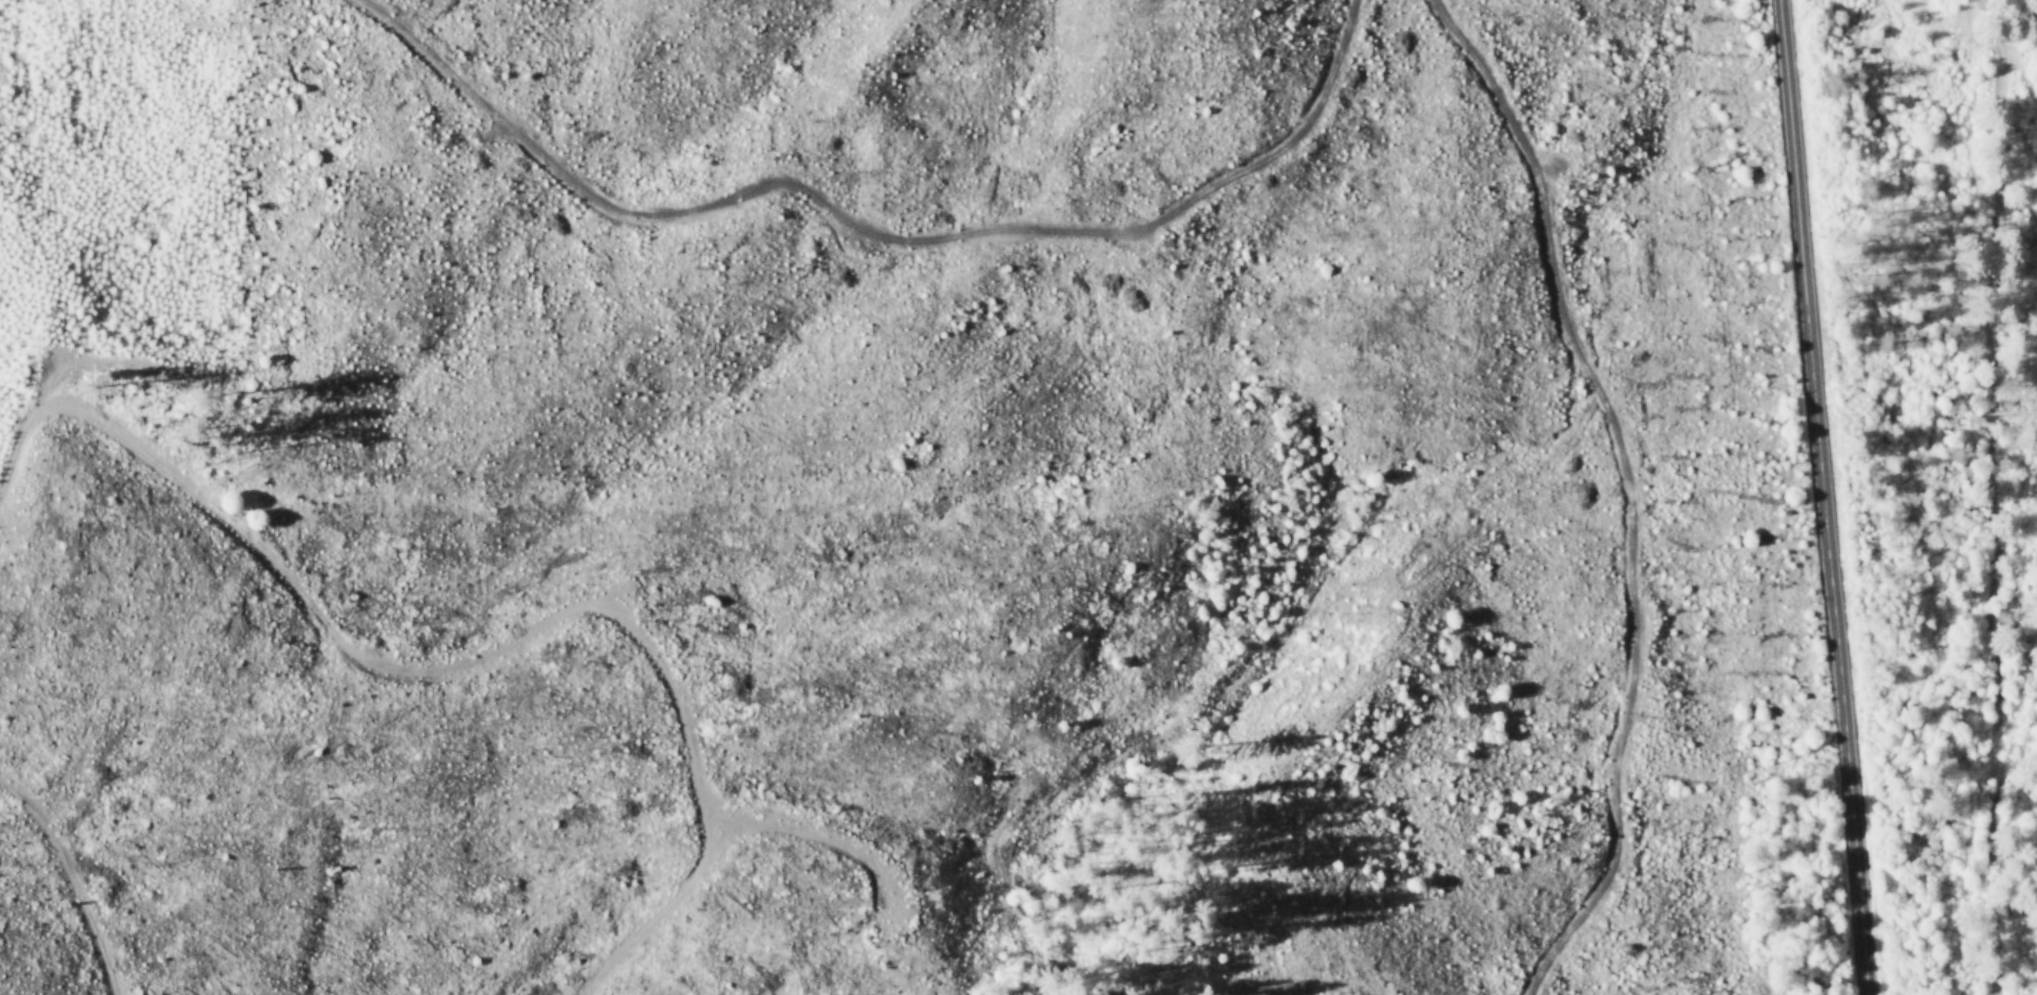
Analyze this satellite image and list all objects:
road: (94, 354)
road: (1826, 497)

